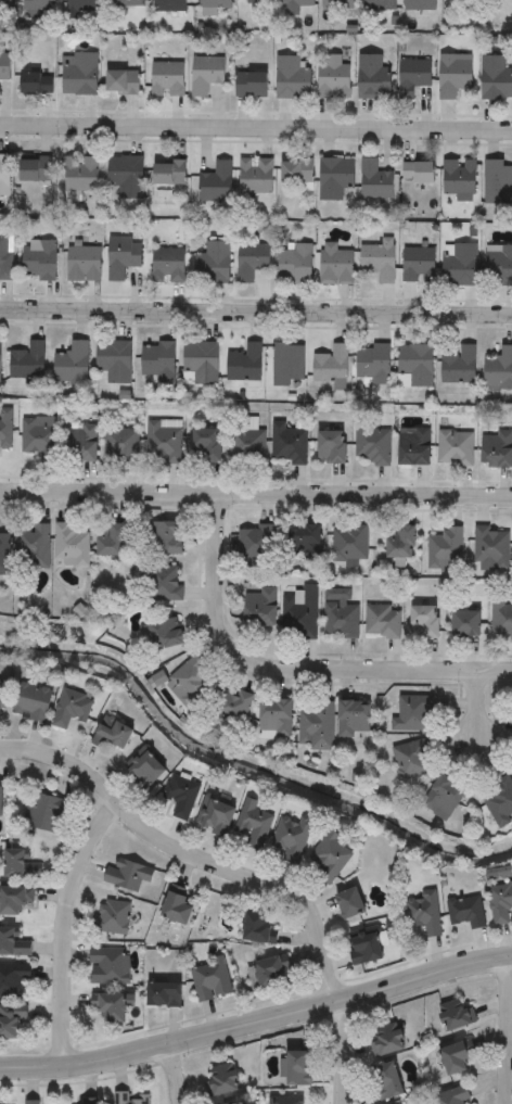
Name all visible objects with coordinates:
building: (500, 0)
building: (127, 2)
building: (215, 3)
building: (4, 4)
building: (39, 4)
building: (336, 4)
building: (380, 4)
building: (169, 5)
building: (294, 5)
building: (84, 7)
building: (4, 66)
building: (206, 73)
building: (80, 74)
building: (414, 74)
building: (455, 75)
building: (373, 76)
building: (292, 77)
building: (496, 77)
building: (166, 78)
building: (333, 78)
building: (123, 81)
building: (37, 83)
building: (251, 84)
road: (255, 130)
building: (35, 168)
building: (169, 173)
building: (296, 173)
building: (419, 173)
building: (80, 174)
building: (126, 175)
building: (255, 175)
building: (4, 176)
building: (335, 177)
building: (459, 177)
building: (375, 180)
building: (216, 182)
building: (497, 182)
building: (123, 255)
building: (5, 257)
building: (40, 259)
building: (379, 259)
building: (251, 261)
building: (213, 263)
building: (82, 264)
building: (294, 264)
building: (335, 264)
building: (419, 264)
building: (462, 264)
building: (168, 265)
building: (499, 265)
road: (255, 312)
building: (0, 360)
building: (114, 360)
building: (27, 361)
building: (158, 361)
building: (72, 364)
building: (201, 364)
building: (245, 364)
building: (289, 364)
building: (331, 364)
building: (375, 365)
building: (417, 365)
building: (459, 366)
building: (499, 370)
building: (5, 430)
building: (37, 437)
building: (163, 442)
building: (81, 444)
building: (120, 444)
building: (246, 444)
building: (287, 445)
building: (206, 446)
building: (371, 446)
building: (331, 447)
building: (414, 447)
building: (455, 448)
building: (497, 448)
road: (256, 492)
building: (166, 536)
building: (112, 538)
building: (304, 541)
building: (400, 542)
building: (255, 543)
building: (349, 543)
building: (71, 544)
building: (33, 546)
building: (445, 548)
building: (490, 548)
building: (4, 555)
building: (168, 583)
building: (259, 606)
building: (340, 612)
building: (298, 613)
building: (500, 618)
building: (382, 621)
building: (424, 621)
building: (465, 622)
building: (166, 633)
road: (292, 664)
building: (191, 680)
building: (2, 698)
building: (33, 700)
road: (478, 700)
building: (231, 706)
building: (72, 707)
building: (414, 713)
building: (276, 718)
building: (355, 718)
building: (317, 725)
building: (113, 732)
building: (411, 758)
building: (146, 767)
building: (181, 795)
building: (444, 796)
building: (1, 800)
building: (499, 800)
building: (48, 812)
building: (215, 815)
building: (254, 823)
building: (292, 837)
building: (331, 855)
building: (18, 864)
building: (127, 873)
road: (239, 873)
building: (14, 899)
building: (351, 902)
building: (500, 902)
building: (466, 911)
building: (425, 912)
building: (114, 915)
road: (65, 921)
building: (260, 928)
building: (11, 942)
building: (366, 946)
building: (107, 964)
building: (270, 972)
building: (13, 978)
building: (210, 979)
building: (164, 993)
building: (111, 1006)
road: (257, 1015)
building: (456, 1015)
building: (11, 1019)
road: (509, 1029)
building: (387, 1039)
building: (455, 1059)
building: (296, 1068)
road: (176, 1069)
building: (221, 1079)
building: (386, 1081)
building: (452, 1096)
building: (128, 1097)
building: (283, 1101)
building: (31, 1102)
building: (230, 1103)
building: (233, 1103)

